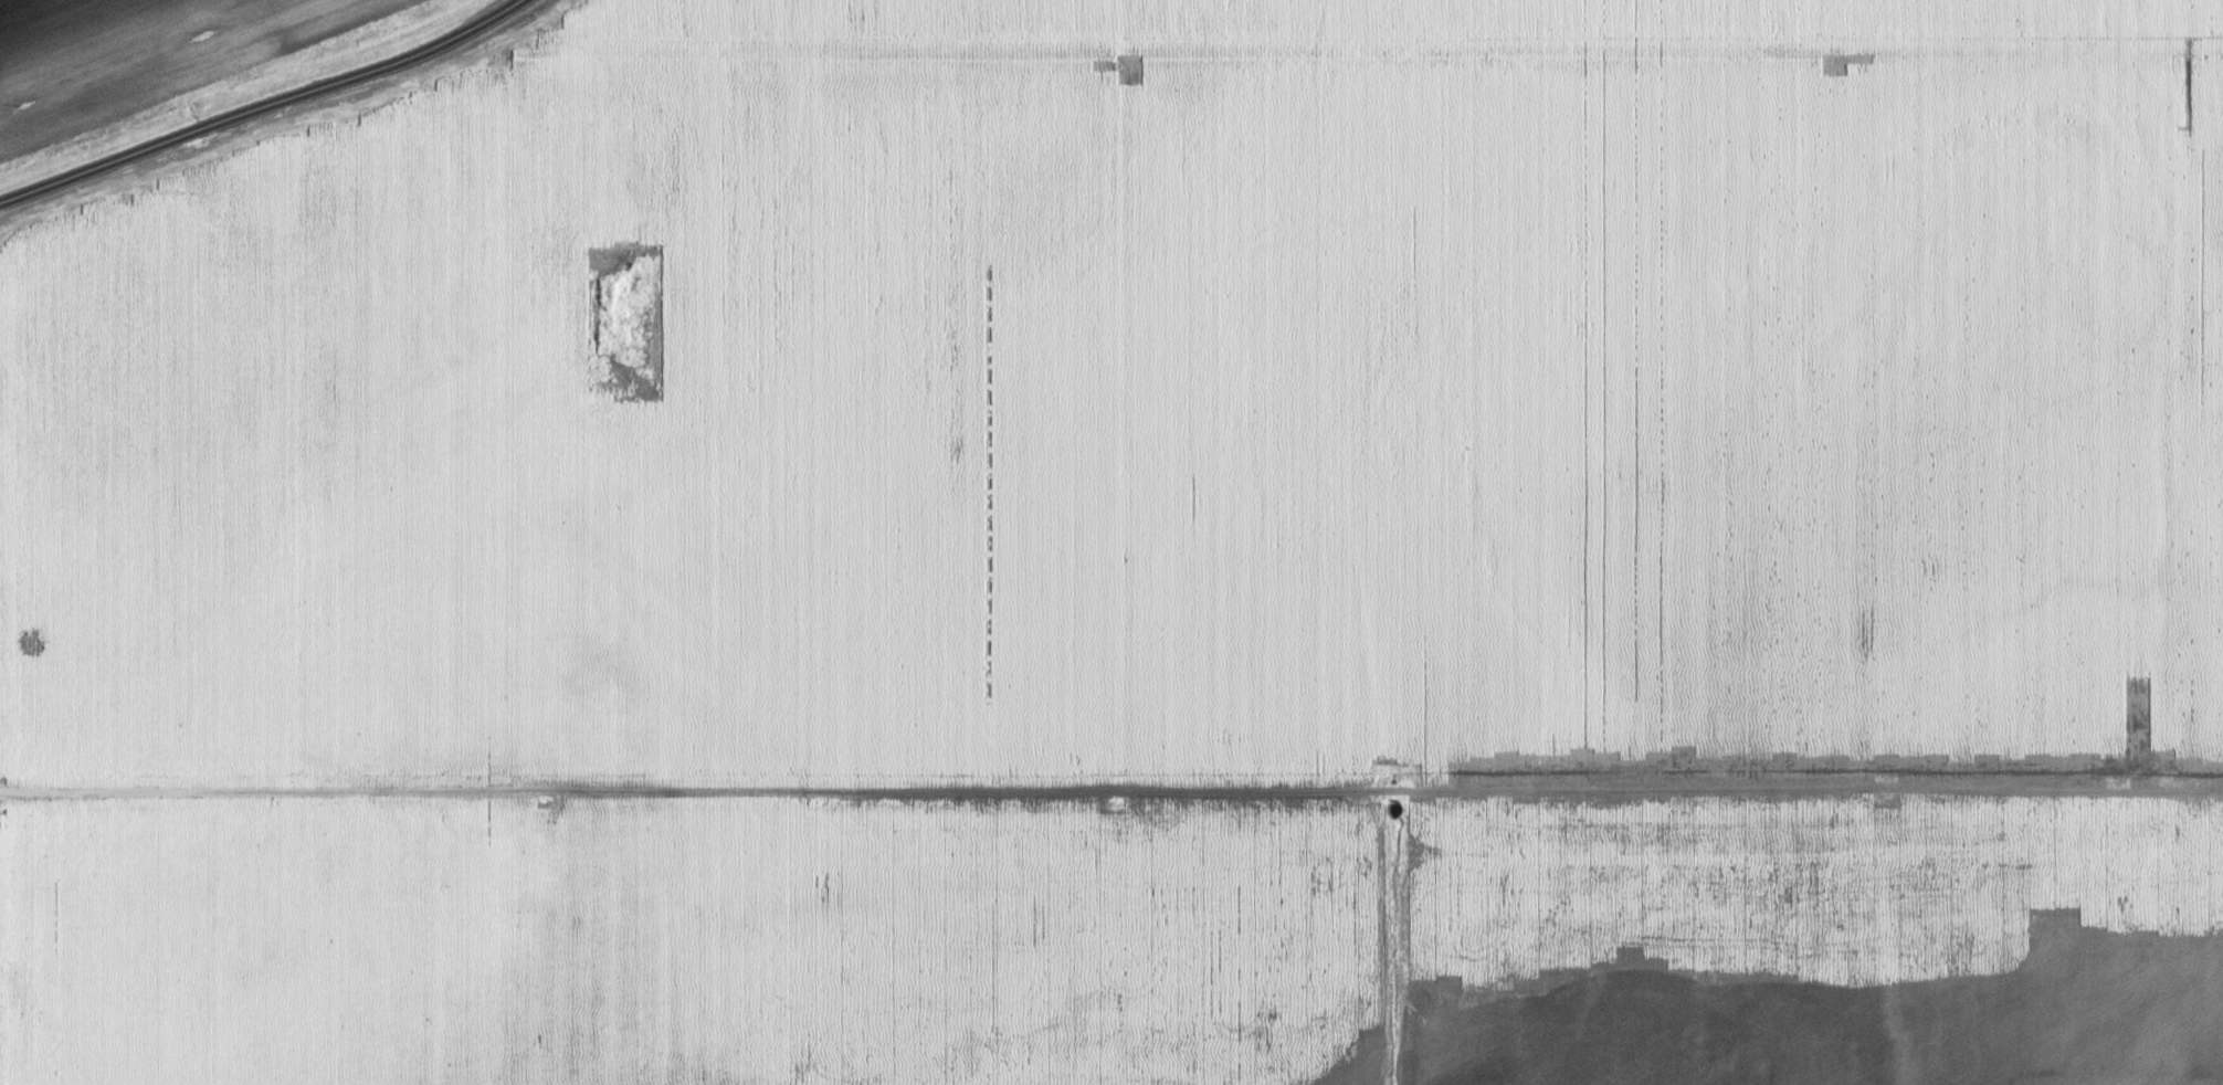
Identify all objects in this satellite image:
road: (261, 110)
park: (618, 323)
road: (1671, 471)
road: (1110, 794)
road: (1883, 938)

